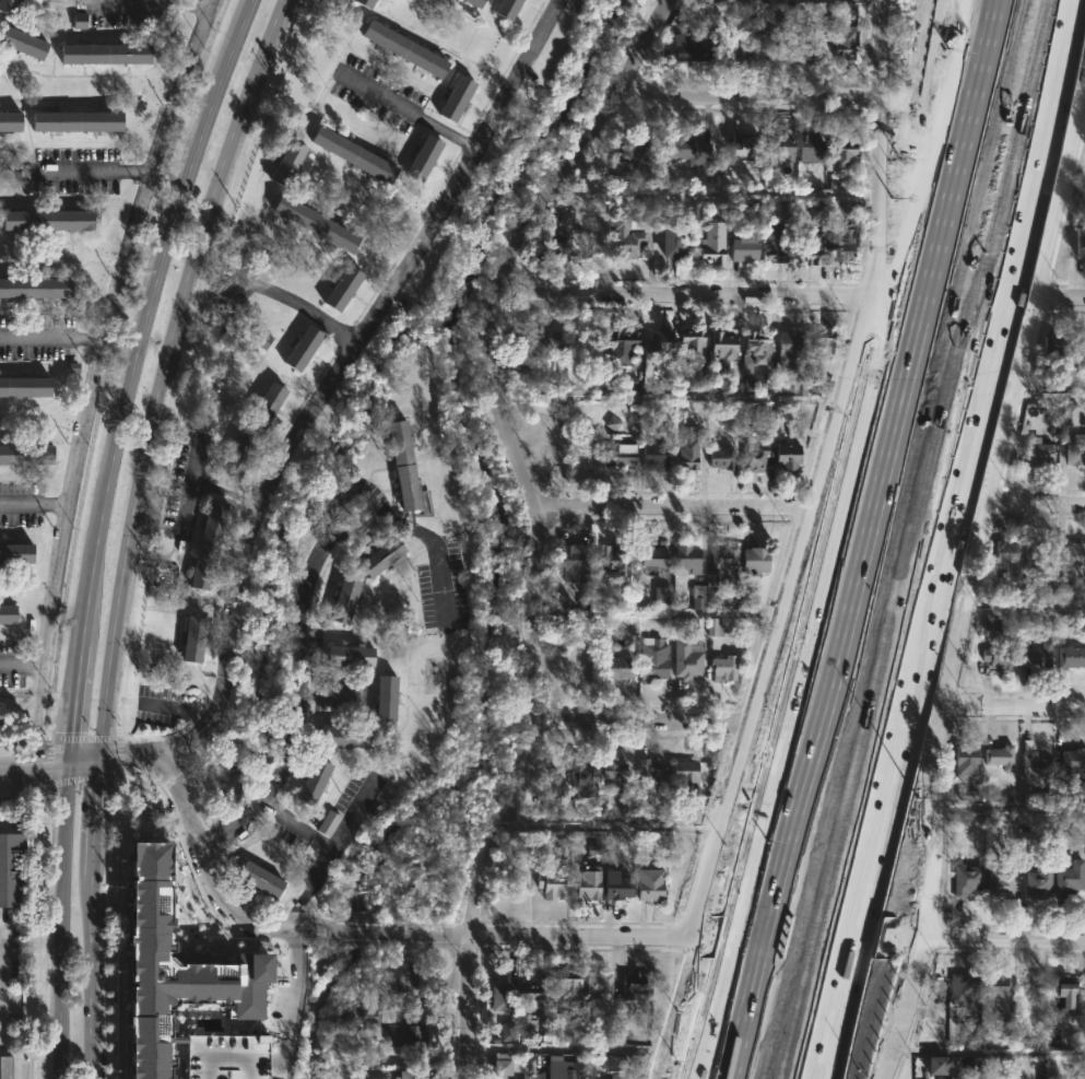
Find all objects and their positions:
road: (156, 1)
building: (366, 2)
building: (475, 2)
building: (7, 5)
building: (506, 8)
building: (845, 12)
building: (741, 15)
building: (22, 42)
building: (842, 42)
building: (809, 44)
building: (404, 47)
building: (688, 47)
building: (774, 49)
building: (735, 50)
building: (103, 52)
road: (747, 94)
building: (456, 97)
road: (1083, 97)
road: (410, 114)
building: (10, 120)
building: (72, 121)
building: (740, 143)
building: (780, 145)
building: (809, 148)
building: (691, 150)
building: (633, 153)
building: (353, 154)
building: (840, 154)
building: (424, 157)
building: (286, 163)
road: (94, 173)
building: (818, 210)
building: (567, 218)
building: (46, 220)
building: (311, 225)
building: (627, 235)
building: (673, 242)
building: (712, 243)
building: (844, 244)
building: (1080, 244)
building: (773, 246)
building: (745, 247)
building: (559, 248)
building: (809, 248)
building: (34, 288)
building: (339, 289)
road: (683, 294)
road: (1060, 295)
road: (300, 304)
building: (263, 338)
road: (54, 339)
building: (541, 343)
building: (660, 344)
building: (695, 344)
building: (302, 347)
building: (620, 348)
building: (722, 348)
building: (755, 348)
building: (819, 348)
building: (1057, 348)
building: (788, 350)
building: (1081, 351)
road: (103, 356)
road: (167, 373)
road: (132, 374)
road: (335, 376)
building: (24, 387)
building: (799, 388)
building: (264, 407)
building: (1069, 414)
building: (686, 451)
building: (1075, 451)
building: (754, 454)
building: (1038, 454)
building: (25, 456)
building: (654, 457)
building: (787, 457)
building: (620, 458)
building: (720, 458)
building: (235, 459)
building: (403, 469)
road: (821, 473)
road: (223, 491)
road: (859, 500)
road: (1036, 502)
road: (36, 503)
road: (672, 507)
road: (534, 518)
road: (421, 537)
road: (929, 539)
road: (950, 539)
building: (207, 546)
building: (1004, 551)
building: (1074, 553)
building: (15, 554)
building: (378, 554)
building: (1042, 554)
building: (723, 555)
building: (608, 556)
building: (652, 556)
building: (574, 558)
building: (687, 558)
building: (754, 560)
road: (968, 579)
building: (1063, 591)
building: (711, 593)
building: (662, 597)
building: (698, 597)
building: (342, 598)
road: (1024, 602)
building: (5, 617)
building: (713, 626)
building: (191, 638)
building: (1037, 654)
building: (347, 655)
building: (996, 656)
building: (652, 659)
building: (687, 659)
building: (1069, 659)
road: (21, 666)
building: (620, 667)
building: (722, 667)
road: (304, 689)
building: (384, 696)
road: (178, 705)
road: (1013, 706)
building: (0, 708)
road: (642, 731)
building: (344, 736)
road: (37, 746)
building: (999, 757)
building: (1072, 759)
building: (965, 760)
road: (91, 762)
building: (1034, 762)
road: (36, 763)
building: (684, 772)
building: (612, 773)
building: (579, 776)
building: (651, 778)
building: (310, 779)
road: (107, 793)
road: (1011, 807)
building: (689, 813)
building: (328, 823)
road: (315, 835)
road: (103, 849)
building: (11, 869)
building: (257, 878)
building: (1068, 879)
building: (966, 880)
building: (1038, 880)
building: (998, 881)
building: (550, 882)
building: (588, 883)
building: (649, 884)
building: (618, 886)
building: (169, 903)
road: (297, 908)
road: (64, 920)
road: (363, 930)
road: (798, 936)
road: (980, 938)
road: (97, 976)
building: (412, 977)
building: (174, 982)
building: (597, 982)
road: (1, 983)
building: (1083, 983)
building: (569, 984)
building: (632, 984)
building: (994, 986)
building: (962, 989)
building: (534, 990)
building: (1060, 993)
building: (499, 998)
building: (239, 1001)
road: (291, 1010)
building: (377, 1015)
building: (1004, 1028)
building: (405, 1033)
road: (710, 1036)
road: (719, 1036)
building: (932, 1039)
road: (837, 1044)
road: (990, 1049)
building: (174, 1053)
building: (226, 1057)
road: (213, 1058)
building: (620, 1063)
building: (970, 1065)
building: (500, 1066)
building: (935, 1066)
building: (4, 1067)
road: (243, 1067)
building: (268, 1068)
building: (411, 1075)
building: (557, 1075)

